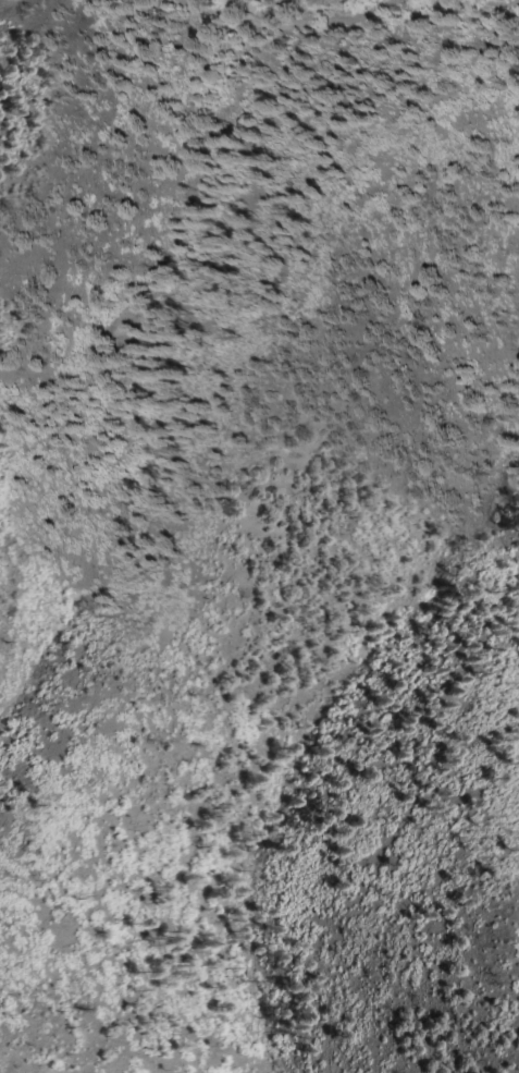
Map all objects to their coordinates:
road: (223, 57)

